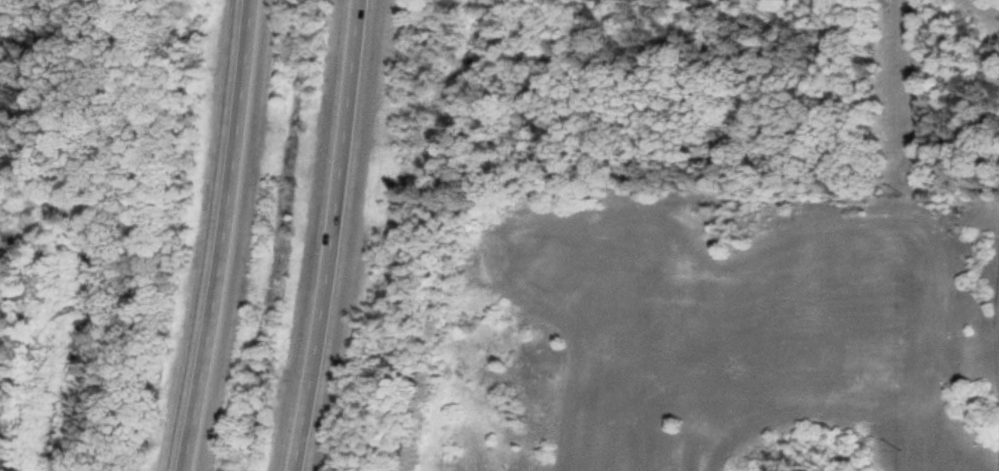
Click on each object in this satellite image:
road: (206, 236)
road: (321, 236)

